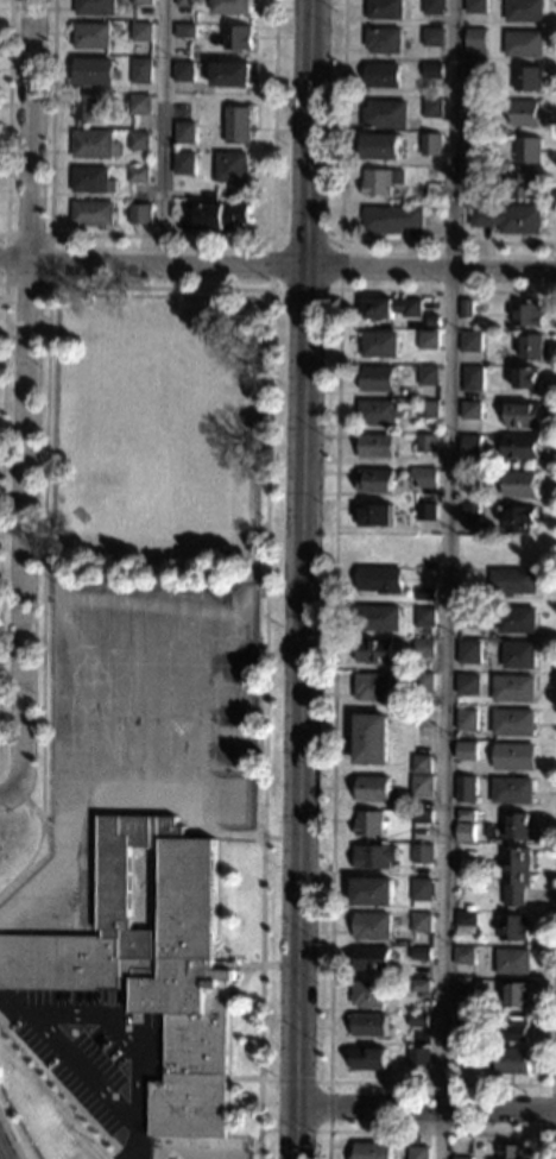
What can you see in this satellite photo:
building: (141, 1)
building: (187, 2)
building: (476, 6)
building: (95, 7)
building: (235, 7)
building: (434, 7)
building: (385, 8)
building: (525, 11)
building: (185, 31)
building: (141, 32)
building: (93, 36)
building: (238, 37)
building: (432, 37)
building: (385, 40)
building: (476, 44)
building: (524, 44)
building: (140, 70)
building: (432, 70)
building: (184, 71)
building: (95, 73)
building: (232, 74)
building: (476, 74)
building: (383, 76)
building: (529, 78)
building: (140, 101)
building: (474, 106)
building: (88, 107)
building: (434, 107)
building: (526, 114)
building: (386, 115)
road: (8, 119)
building: (239, 125)
road: (164, 131)
building: (184, 132)
building: (139, 140)
building: (475, 140)
building: (432, 143)
building: (96, 144)
building: (384, 146)
building: (529, 150)
building: (184, 163)
building: (233, 166)
building: (430, 172)
building: (138, 174)
building: (473, 174)
building: (94, 179)
building: (383, 182)
building: (523, 187)
building: (435, 190)
building: (177, 208)
building: (93, 213)
building: (140, 214)
building: (221, 215)
building: (507, 218)
building: (392, 219)
road: (341, 227)
road: (163, 235)
road: (337, 239)
road: (277, 264)
road: (49, 285)
road: (272, 302)
building: (393, 308)
building: (467, 308)
building: (529, 315)
building: (436, 321)
road: (43, 322)
building: (429, 340)
building: (472, 341)
building: (381, 344)
building: (532, 347)
building: (429, 374)
building: (380, 378)
building: (473, 378)
building: (527, 378)
road: (29, 399)
building: (428, 409)
building: (472, 410)
building: (380, 412)
building: (525, 415)
building: (428, 442)
building: (472, 443)
building: (378, 446)
building: (523, 447)
building: (425, 477)
building: (378, 480)
building: (522, 484)
building: (470, 508)
building: (427, 511)
building: (377, 515)
building: (518, 518)
road: (2, 527)
road: (302, 579)
road: (450, 579)
building: (381, 580)
building: (513, 582)
road: (263, 590)
road: (50, 594)
building: (427, 594)
building: (468, 594)
building: (469, 615)
building: (425, 617)
building: (380, 618)
building: (518, 619)
building: (429, 631)
road: (255, 642)
building: (424, 648)
building: (375, 651)
building: (470, 653)
building: (519, 655)
building: (423, 681)
building: (468, 685)
building: (373, 687)
building: (513, 688)
building: (467, 719)
building: (513, 722)
building: (372, 739)
park: (235, 750)
building: (467, 751)
building: (514, 756)
building: (422, 764)
building: (422, 786)
building: (373, 789)
building: (466, 789)
building: (512, 790)
road: (21, 795)
road: (7, 798)
park: (235, 804)
building: (465, 815)
building: (422, 817)
road: (46, 821)
building: (369, 823)
building: (519, 826)
building: (465, 832)
road: (240, 834)
building: (423, 855)
building: (375, 857)
road: (330, 864)
building: (513, 875)
building: (373, 892)
building: (422, 893)
building: (468, 908)
building: (422, 922)
building: (466, 922)
building: (372, 926)
building: (514, 927)
building: (421, 953)
building: (465, 956)
building: (372, 959)
building: (513, 962)
road: (249, 965)
building: (151, 966)
building: (419, 985)
building: (463, 987)
building: (368, 994)
building: (518, 994)
building: (463, 1019)
building: (418, 1020)
building: (369, 1025)
building: (518, 1028)
parking lot: (97, 1051)
building: (418, 1057)
building: (463, 1057)
building: (367, 1058)
building: (512, 1062)
road: (244, 1079)
road: (62, 1092)
road: (329, 1106)
road: (424, 1106)
road: (551, 1109)
road: (438, 1130)
road: (254, 1145)
building: (371, 1151)
building: (511, 1152)
building: (418, 1153)
building: (462, 1158)

